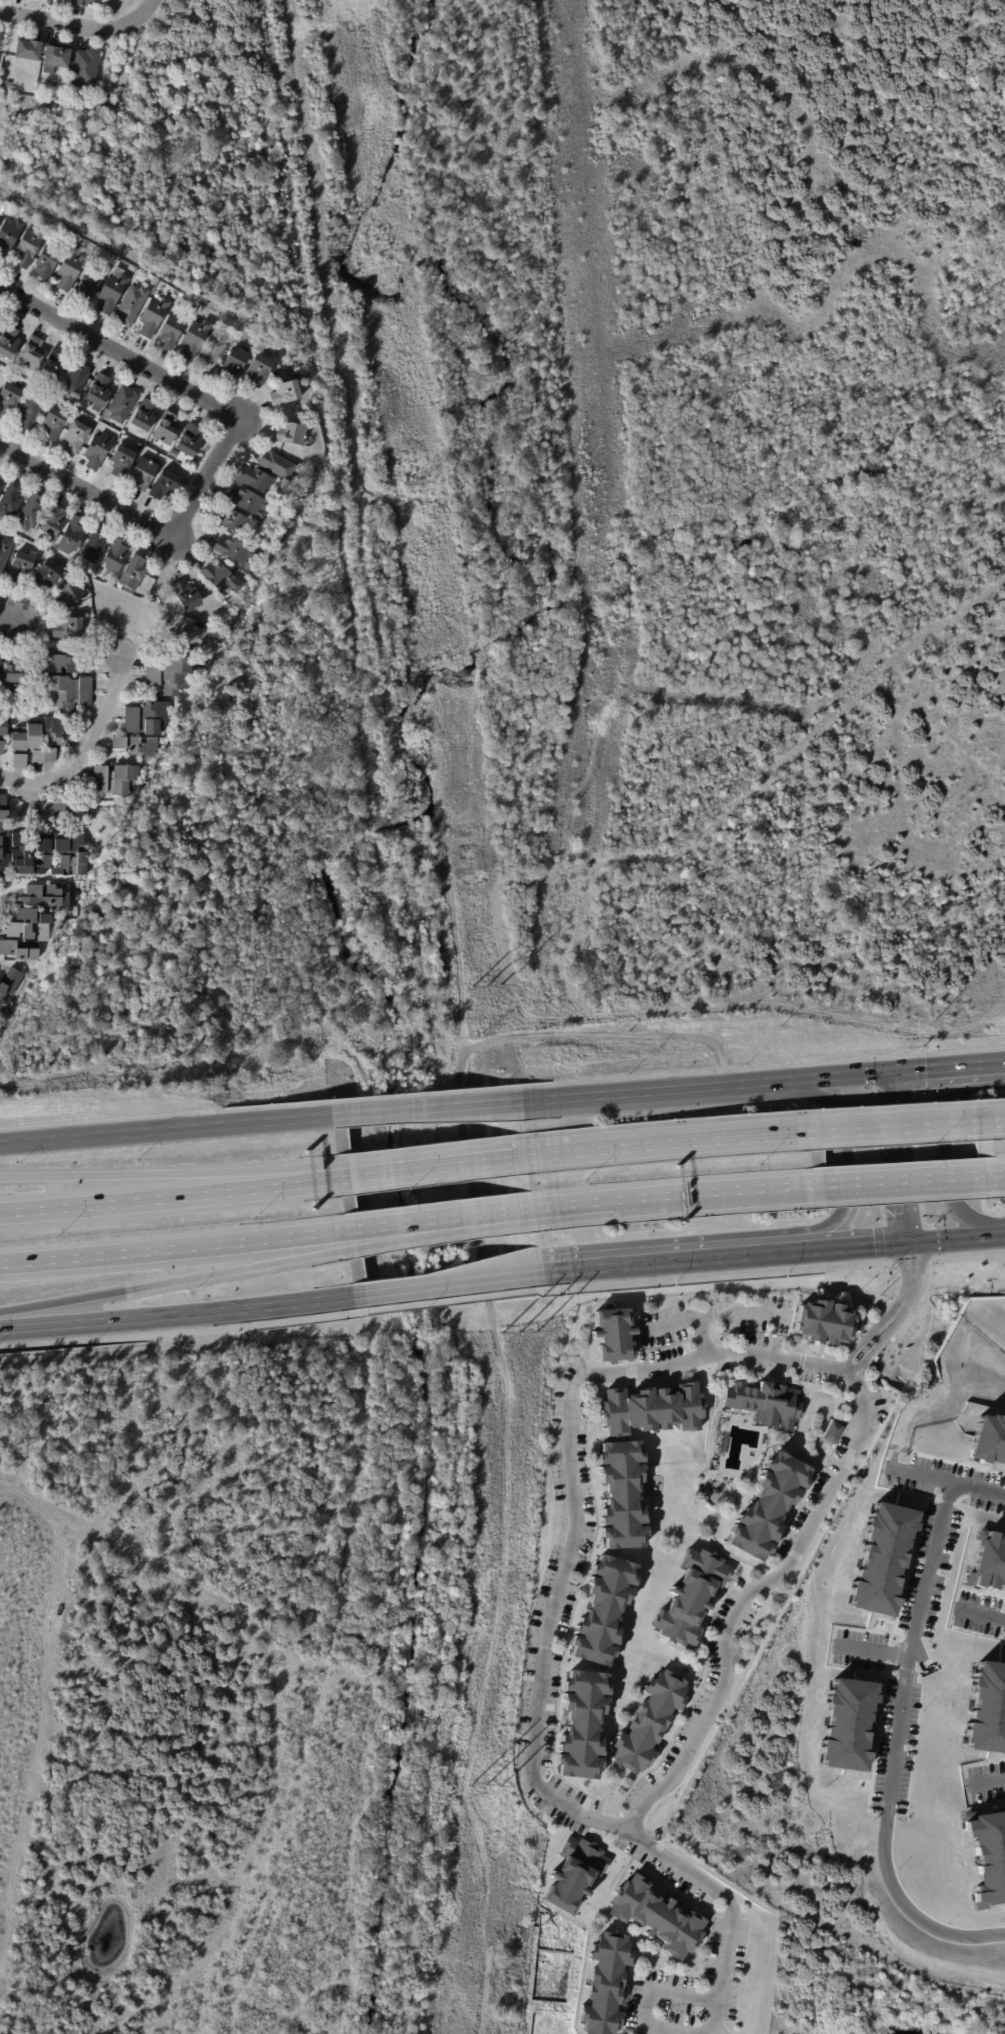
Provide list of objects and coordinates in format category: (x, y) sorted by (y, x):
building: (63, 1)
building: (86, 2)
road: (82, 28)
building: (0, 34)
building: (0, 36)
building: (26, 51)
building: (56, 57)
building: (85, 68)
building: (101, 90)
building: (91, 99)
building: (79, 101)
building: (9, 234)
building: (29, 246)
building: (46, 262)
building: (71, 268)
building: (87, 286)
building: (113, 290)
building: (131, 304)
building: (153, 316)
building: (169, 331)
building: (195, 337)
building: (8, 342)
road: (122, 352)
building: (30, 353)
building: (211, 354)
building: (270, 355)
building: (234, 364)
building: (52, 365)
building: (258, 370)
building: (76, 379)
building: (98, 390)
building: (285, 393)
building: (8, 399)
building: (122, 404)
building: (31, 410)
building: (144, 416)
building: (53, 424)
building: (166, 429)
building: (291, 434)
building: (75, 436)
building: (187, 445)
building: (97, 451)
building: (295, 458)
building: (120, 461)
building: (276, 465)
building: (143, 473)
building: (0, 475)
building: (255, 479)
building: (163, 485)
building: (1, 487)
power tower: (419, 488)
building: (10, 500)
building: (248, 503)
building: (30, 513)
building: (231, 521)
building: (51, 523)
road: (148, 526)
building: (71, 536)
building: (94, 545)
building: (5, 552)
building: (235, 552)
building: (115, 556)
building: (19, 567)
building: (97, 572)
building: (132, 573)
building: (46, 575)
building: (221, 579)
building: (70, 595)
building: (186, 596)
road: (10, 610)
building: (67, 629)
building: (92, 635)
building: (0, 662)
building: (70, 664)
building: (15, 675)
building: (168, 676)
building: (69, 694)
building: (147, 720)
building: (3, 729)
building: (54, 731)
road: (87, 744)
building: (24, 745)
building: (136, 746)
building: (1, 748)
building: (43, 757)
building: (114, 780)
road: (52, 805)
building: (39, 851)
building: (33, 922)
power tower: (488, 985)
building: (8, 993)
road: (1004, 1062)
road: (951, 1067)
traffic signals: (899, 1071)
road: (851, 1075)
road: (716, 1087)
road: (574, 1100)
road: (430, 1110)
road: (988, 1116)
road: (899, 1122)
road: (171, 1130)
road: (670, 1141)
road: (953, 1147)
road: (904, 1156)
road: (845, 1158)
road: (434, 1165)
road: (175, 1175)
road: (992, 1176)
road: (903, 1181)
road: (175, 1191)
road: (718, 1196)
road: (570, 1209)
road: (439, 1222)
road: (1004, 1233)
road: (396, 1236)
road: (956, 1238)
traffic signals: (910, 1242)
road: (866, 1245)
road: (174, 1246)
road: (678, 1260)
road: (771, 1269)
road: (167, 1281)
road: (448, 1284)
road: (908, 1296)
road: (451, 1299)
road: (182, 1313)
road: (715, 1315)
building: (825, 1323)
road: (182, 1331)
power tower: (521, 1331)
building: (614, 1335)
road: (706, 1335)
road: (862, 1355)
building: (767, 1404)
building: (654, 1410)
building: (832, 1431)
building: (988, 1440)
road: (934, 1483)
building: (622, 1495)
building: (769, 1506)
road: (197, 1510)
road: (26, 1551)
building: (881, 1558)
building: (987, 1561)
road: (746, 1595)
building: (690, 1598)
road: (557, 1605)
building: (604, 1613)
road: (998, 1622)
road: (110, 1639)
road: (883, 1657)
building: (987, 1708)
building: (648, 1723)
building: (847, 1724)
building: (583, 1727)
road: (904, 1727)
road: (71, 1778)
power tower: (488, 1786)
road: (995, 1788)
road: (3, 1839)
building: (988, 1856)
building: (575, 1875)
building: (657, 1918)
building: (607, 1983)
road: (655, 1990)
road: (716, 2017)

